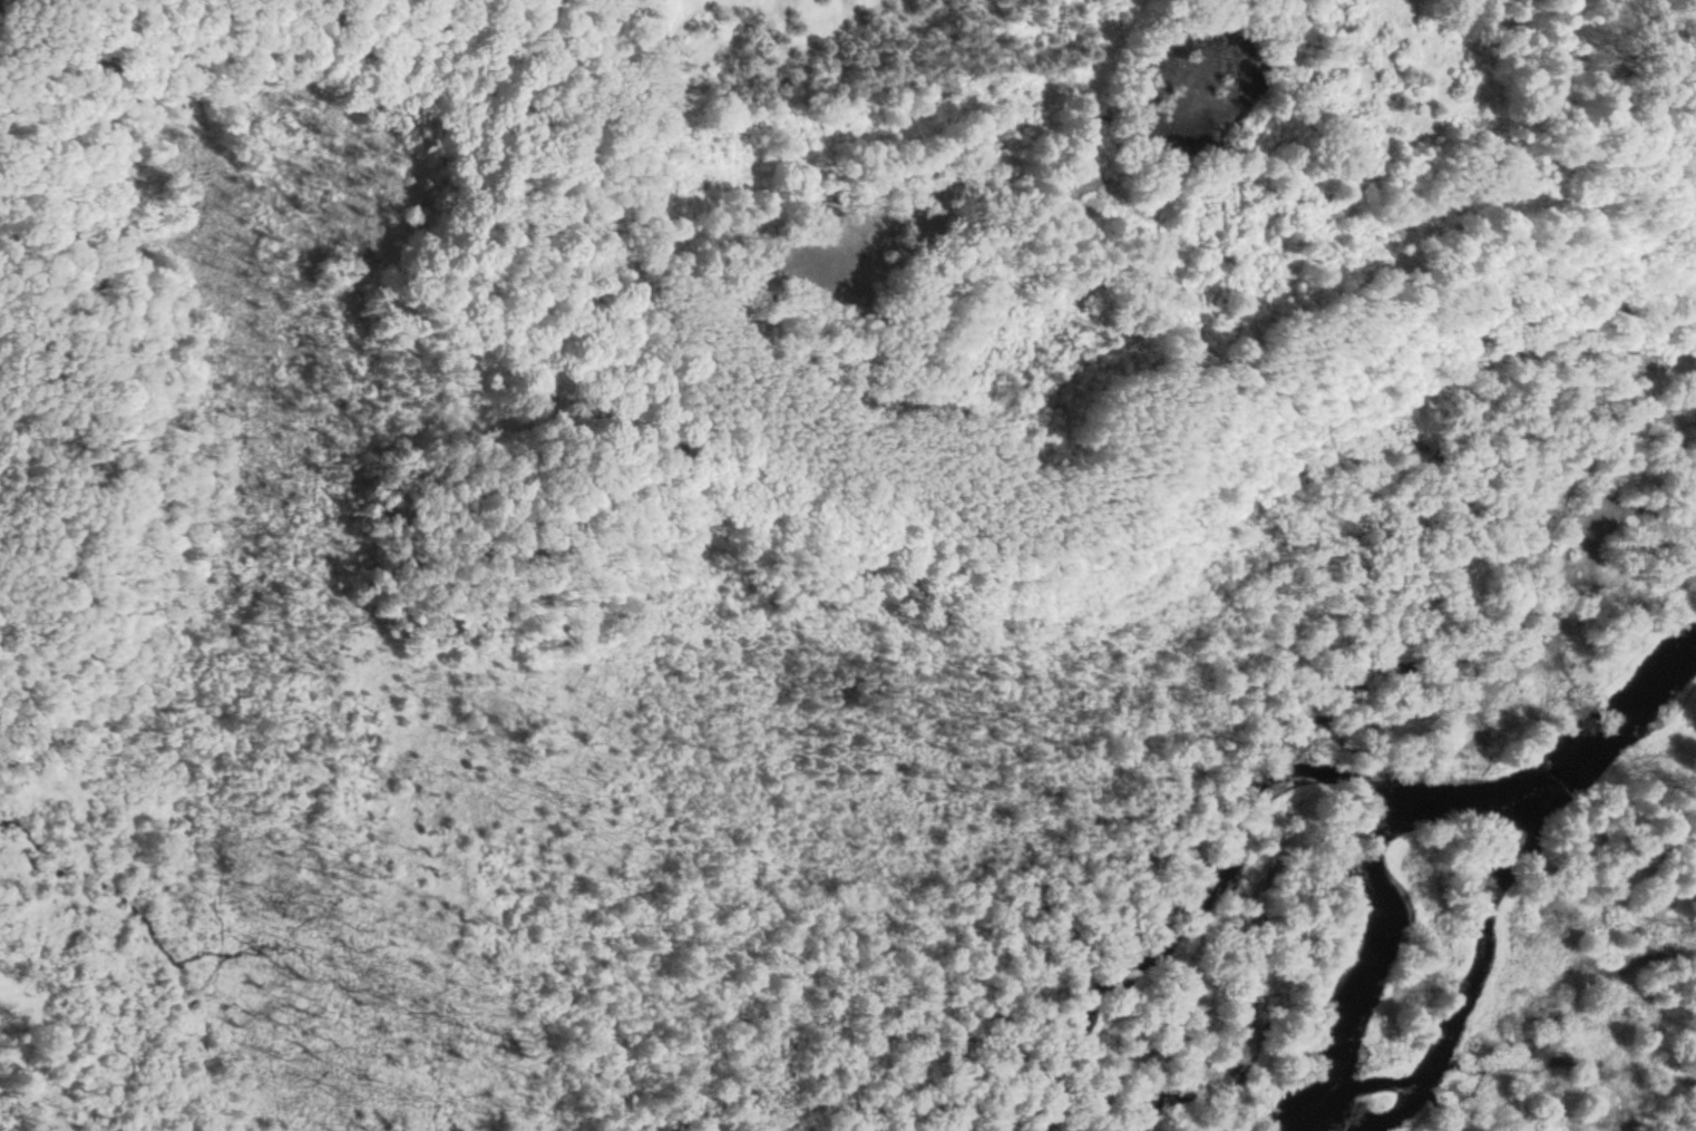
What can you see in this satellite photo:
river: (1385, 813)

